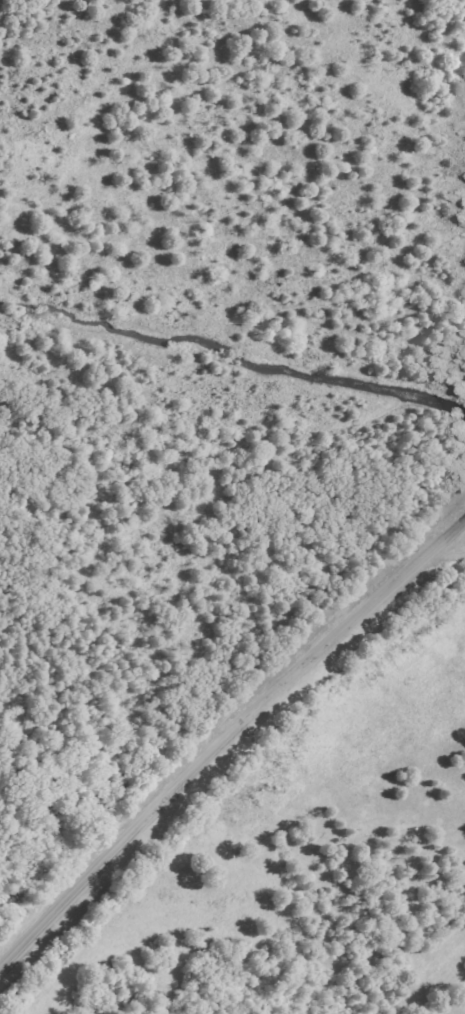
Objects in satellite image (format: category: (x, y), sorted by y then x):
road: (226, 736)

